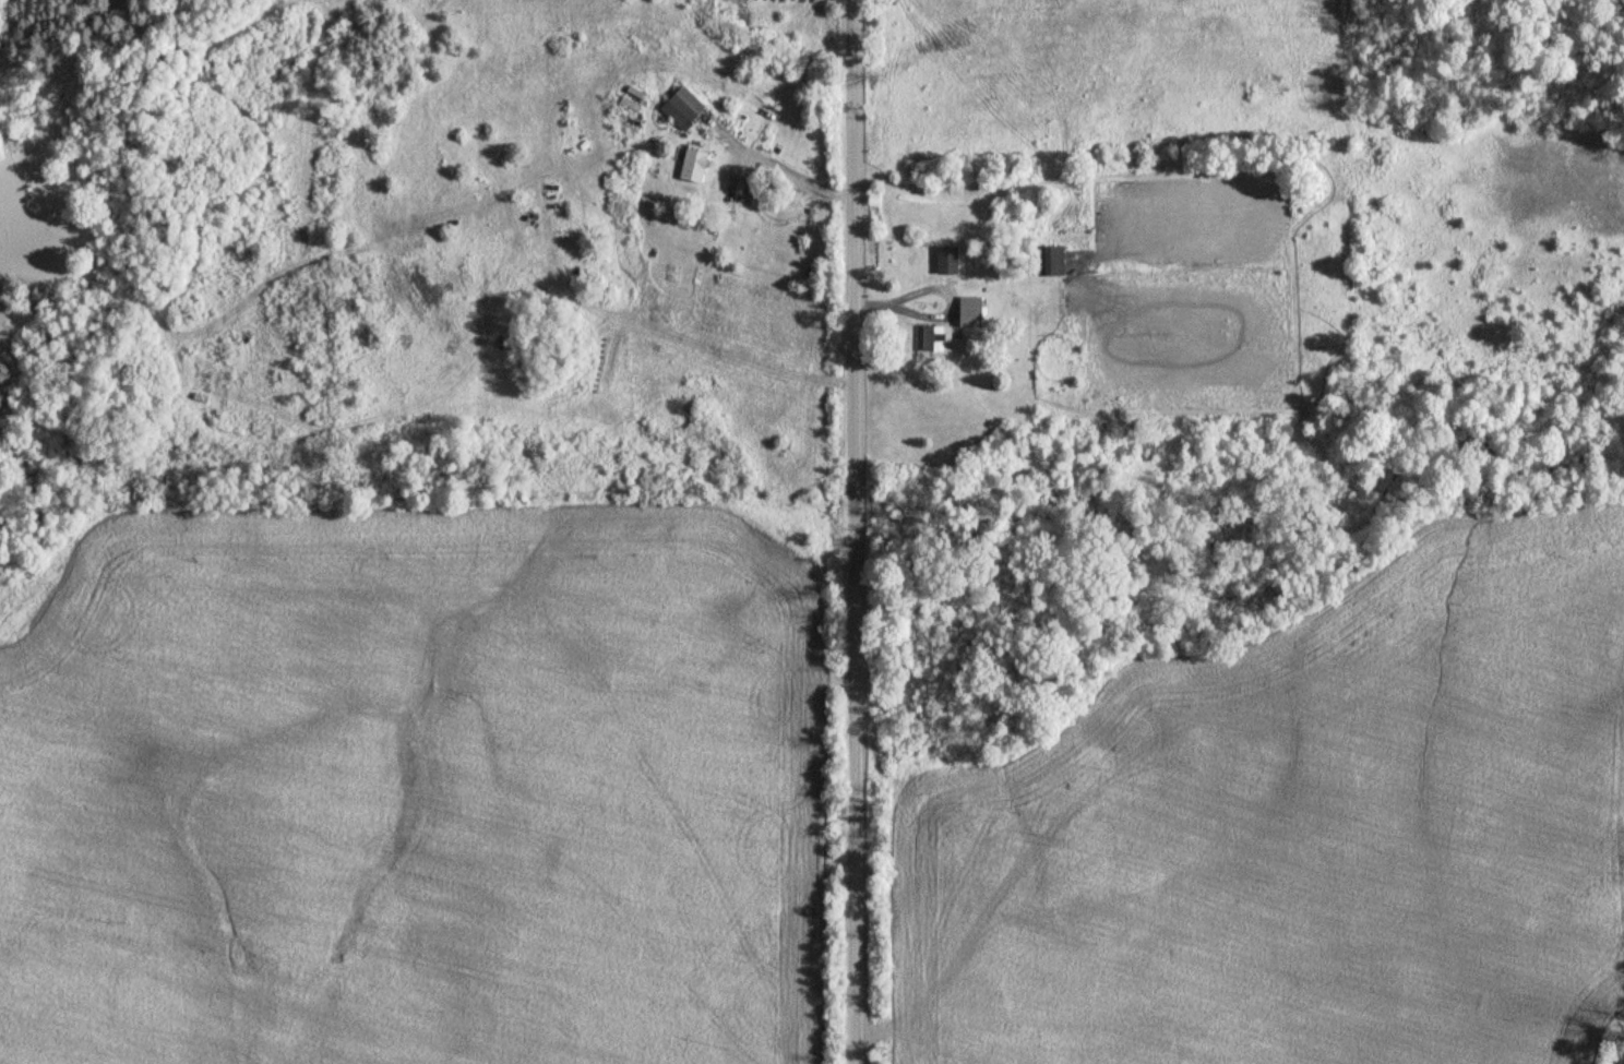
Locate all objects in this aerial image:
building: (686, 108)
building: (697, 166)
building: (1055, 259)
building: (951, 260)
building: (974, 312)
building: (936, 339)
road: (853, 531)

